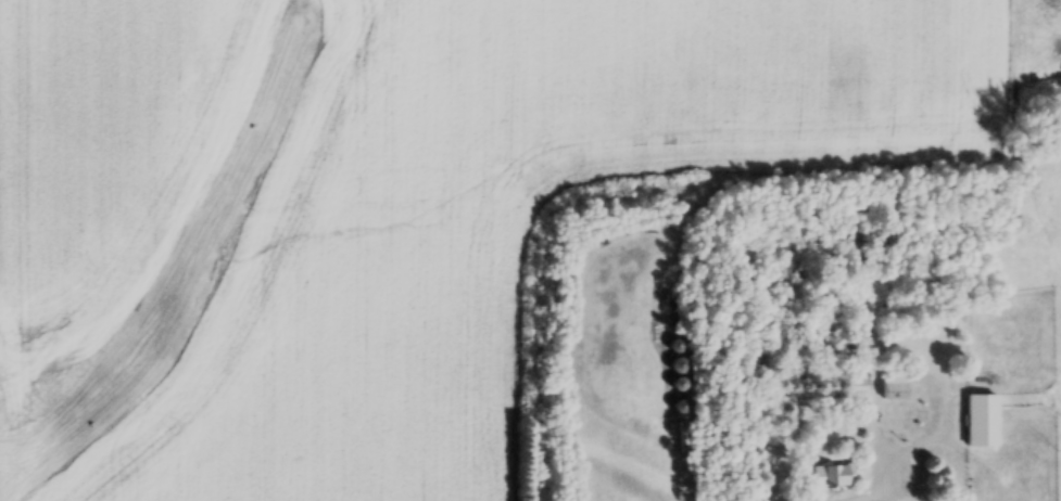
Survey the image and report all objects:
building: (859, 390)
building: (894, 390)
building: (1058, 406)
building: (983, 423)
building: (831, 478)
road: (857, 497)

